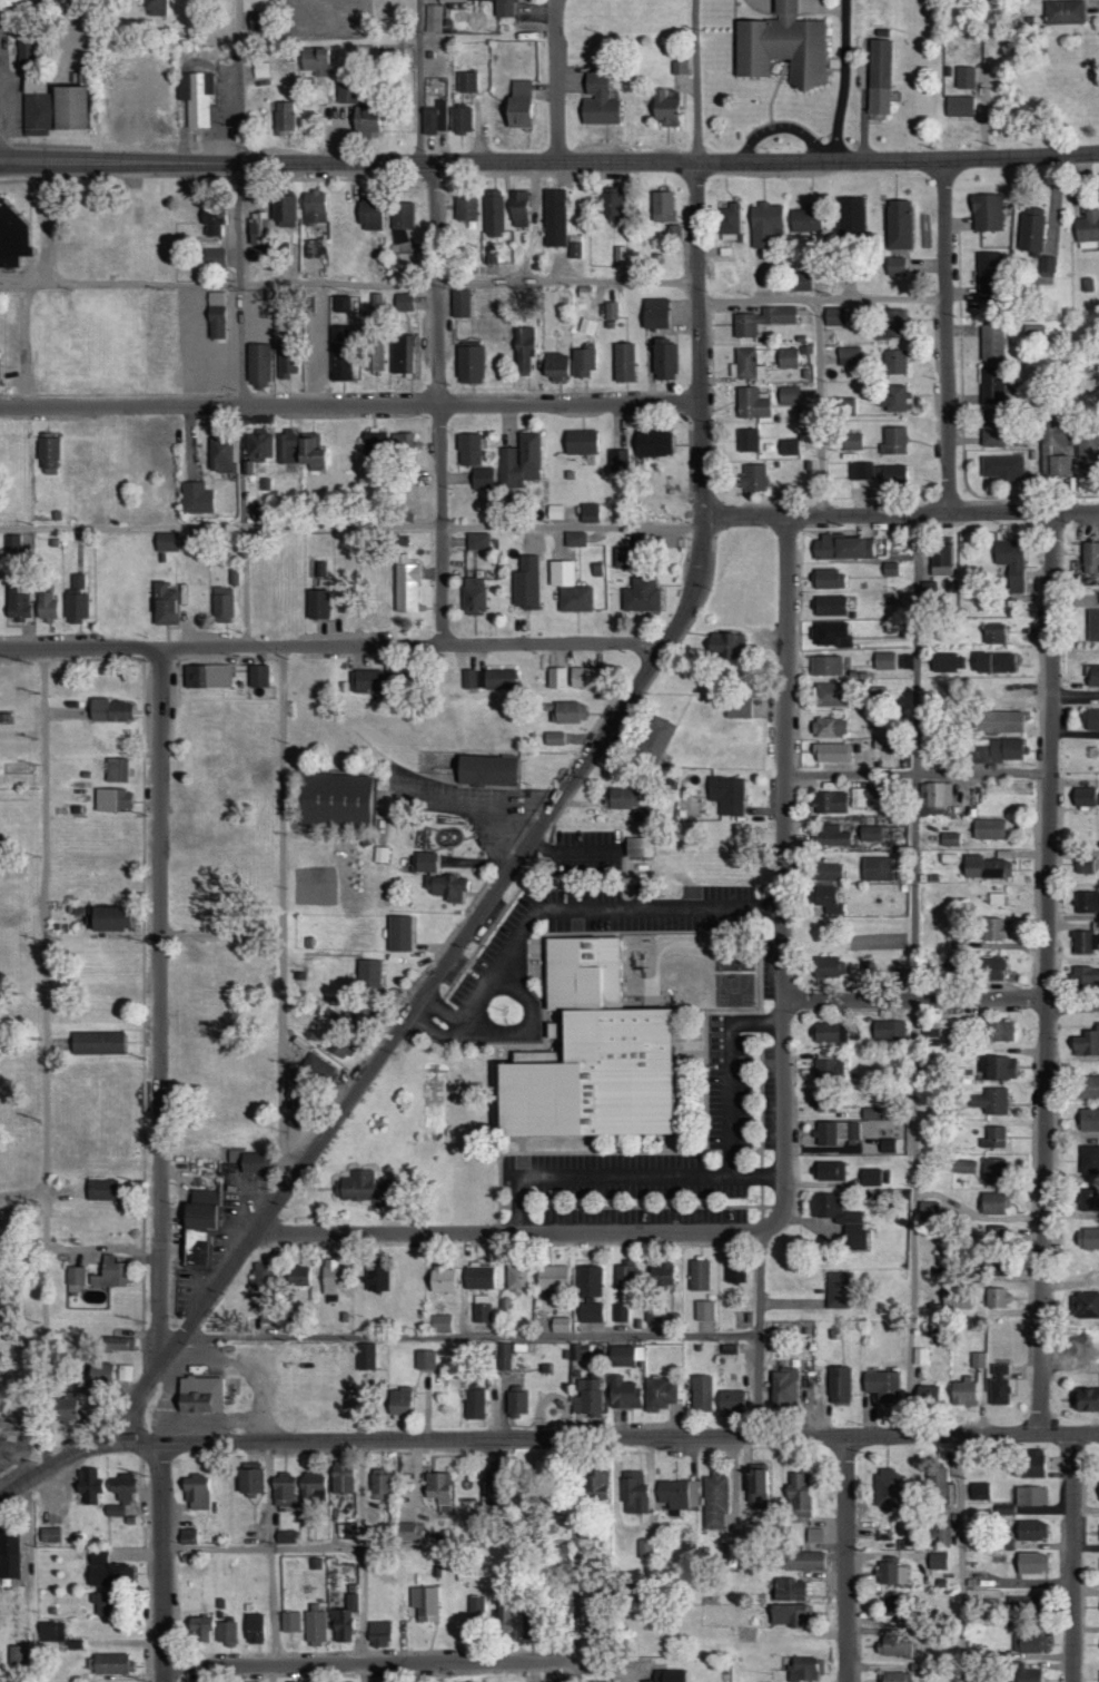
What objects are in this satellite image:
building: (448, 0)
road: (18, 7)
building: (155, 8)
building: (504, 8)
building: (1063, 11)
building: (432, 18)
building: (788, 43)
building: (23, 52)
building: (314, 60)
building: (680, 67)
building: (260, 70)
road: (843, 75)
building: (879, 76)
building: (964, 77)
road: (238, 81)
road: (418, 81)
building: (466, 81)
road: (556, 81)
road: (696, 81)
building: (346, 94)
building: (196, 97)
building: (596, 101)
building: (1070, 102)
building: (518, 105)
building: (960, 106)
building: (50, 107)
building: (664, 108)
building: (283, 116)
road: (783, 117)
building: (435, 118)
building: (459, 119)
building: (365, 121)
road: (549, 163)
building: (611, 205)
building: (662, 206)
building: (313, 207)
building: (464, 208)
building: (283, 209)
building: (987, 212)
building: (493, 213)
building: (369, 215)
building: (850, 215)
building: (554, 217)
building: (516, 218)
building: (400, 220)
building: (729, 222)
building: (805, 222)
building: (211, 223)
building: (766, 224)
building: (897, 224)
building: (258, 227)
building: (1030, 229)
building: (1087, 229)
building: (673, 232)
building: (11, 238)
building: (574, 246)
building: (316, 247)
building: (289, 250)
building: (474, 252)
building: (256, 253)
building: (491, 254)
building: (618, 256)
building: (214, 257)
building: (406, 259)
building: (1047, 265)
building: (894, 266)
building: (988, 276)
road: (349, 283)
building: (1087, 285)
road: (822, 299)
building: (376, 301)
building: (403, 302)
building: (338, 303)
building: (459, 303)
building: (610, 311)
building: (654, 313)
building: (834, 316)
building: (762, 319)
building: (215, 322)
building: (891, 323)
road: (947, 336)
road: (699, 340)
building: (991, 342)
building: (523, 350)
building: (339, 353)
building: (402, 354)
building: (373, 355)
building: (848, 355)
building: (788, 357)
building: (663, 361)
building: (582, 362)
building: (623, 362)
building: (892, 362)
building: (286, 363)
building: (747, 363)
building: (257, 364)
building: (468, 364)
building: (554, 365)
building: (316, 368)
building: (991, 385)
building: (789, 395)
building: (892, 397)
road: (439, 403)
building: (751, 403)
road: (239, 404)
building: (846, 405)
road: (349, 406)
road: (820, 407)
building: (991, 430)
building: (746, 440)
building: (893, 440)
building: (852, 441)
building: (373, 442)
building: (580, 442)
building: (652, 443)
building: (258, 445)
building: (399, 446)
building: (789, 446)
building: (1087, 446)
building: (1051, 449)
building: (467, 450)
building: (46, 452)
building: (221, 455)
building: (618, 460)
building: (519, 461)
building: (1001, 466)
building: (877, 472)
building: (406, 474)
building: (752, 476)
building: (482, 478)
building: (197, 498)
building: (554, 511)
building: (588, 512)
road: (900, 514)
road: (350, 525)
building: (574, 539)
building: (476, 541)
building: (12, 542)
building: (165, 542)
building: (842, 548)
building: (940, 555)
building: (1089, 557)
building: (623, 558)
building: (1012, 563)
building: (320, 569)
building: (890, 569)
building: (829, 579)
building: (525, 583)
building: (405, 584)
building: (567, 588)
building: (928, 591)
building: (473, 596)
building: (640, 596)
building: (76, 601)
building: (164, 604)
building: (221, 604)
building: (317, 604)
building: (17, 606)
building: (46, 606)
building: (830, 606)
building: (1092, 626)
building: (993, 633)
building: (831, 635)
road: (330, 646)
building: (726, 646)
building: (884, 660)
building: (943, 662)
building: (993, 662)
building: (825, 666)
building: (1092, 675)
building: (257, 676)
building: (206, 677)
building: (582, 677)
building: (556, 678)
building: (488, 679)
building: (369, 680)
building: (830, 695)
building: (736, 708)
building: (108, 710)
building: (567, 712)
building: (1090, 719)
building: (998, 721)
building: (830, 728)
building: (554, 738)
building: (654, 739)
building: (997, 751)
building: (833, 753)
building: (116, 770)
building: (484, 771)
road: (918, 774)
building: (726, 795)
building: (938, 795)
building: (1085, 796)
building: (857, 797)
building: (621, 798)
building: (111, 800)
building: (330, 800)
building: (830, 803)
building: (640, 814)
building: (988, 829)
building: (870, 834)
building: (829, 835)
building: (950, 839)
building: (636, 847)
building: (379, 855)
building: (948, 858)
building: (425, 862)
building: (1083, 866)
building: (984, 867)
building: (877, 868)
building: (826, 872)
road: (784, 878)
building: (445, 886)
building: (997, 898)
building: (823, 901)
building: (1087, 902)
road: (620, 907)
road: (283, 915)
parking lot: (588, 915)
building: (107, 919)
building: (994, 928)
building: (398, 934)
road: (222, 936)
building: (1085, 942)
building: (826, 966)
building: (992, 968)
road: (1049, 973)
road: (912, 974)
building: (368, 975)
building: (1086, 977)
road: (428, 986)
park: (733, 988)
road: (940, 999)
road: (481, 1002)
road: (160, 1006)
road: (443, 1006)
road: (469, 1026)
building: (888, 1030)
building: (1000, 1031)
building: (830, 1033)
road: (504, 1039)
building: (96, 1043)
building: (1087, 1043)
building: (598, 1056)
road: (46, 1060)
building: (998, 1068)
building: (317, 1069)
building: (828, 1069)
parking lot: (742, 1082)
building: (1088, 1086)
road: (736, 1092)
building: (991, 1101)
building: (871, 1113)
building: (1088, 1120)
building: (835, 1132)
building: (994, 1138)
building: (887, 1147)
building: (1088, 1160)
building: (245, 1161)
building: (962, 1165)
building: (829, 1171)
building: (993, 1171)
road: (602, 1174)
building: (874, 1178)
building: (100, 1189)
building: (362, 1189)
road: (22, 1192)
building: (1088, 1202)
building: (991, 1204)
building: (928, 1211)
building: (851, 1223)
building: (197, 1227)
road: (511, 1232)
building: (1088, 1238)
building: (1002, 1250)
building: (109, 1273)
building: (700, 1275)
building: (736, 1276)
building: (296, 1277)
building: (330, 1277)
building: (478, 1277)
building: (551, 1278)
building: (624, 1278)
building: (661, 1278)
building: (375, 1279)
building: (516, 1279)
building: (75, 1280)
building: (261, 1280)
building: (442, 1280)
building: (587, 1282)
building: (838, 1290)
building: (954, 1298)
building: (996, 1298)
building: (1086, 1306)
building: (481, 1309)
building: (704, 1311)
building: (591, 1312)
building: (620, 1314)
building: (440, 1324)
building: (560, 1325)
road: (471, 1334)
road: (758, 1334)
building: (115, 1345)
building: (578, 1351)
building: (365, 1356)
building: (624, 1356)
building: (503, 1357)
building: (919, 1357)
building: (425, 1360)
building: (978, 1360)
building: (123, 1374)
building: (99, 1376)
building: (839, 1386)
building: (882, 1386)
building: (999, 1386)
building: (784, 1388)
building: (622, 1393)
building: (963, 1393)
building: (701, 1394)
building: (659, 1395)
building: (198, 1396)
building: (925, 1396)
building: (587, 1398)
building: (1085, 1400)
building: (731, 1401)
building: (398, 1403)
building: (516, 1404)
building: (474, 1405)
building: (65, 1408)
road: (610, 1438)
building: (1031, 1463)
road: (57, 1464)
building: (340, 1479)
building: (937, 1481)
building: (247, 1483)
building: (489, 1484)
building: (756, 1484)
building: (595, 1485)
building: (89, 1486)
building: (378, 1487)
building: (887, 1487)
building: (310, 1489)
building: (1098, 1489)
building: (437, 1491)
building: (979, 1491)
building: (283, 1492)
building: (195, 1493)
building: (120, 1494)
building: (634, 1494)
building: (677, 1495)
building: (1030, 1495)
building: (799, 1496)
building: (714, 1502)
building: (1030, 1529)
building: (346, 1532)
building: (403, 1532)
building: (50, 1535)
building: (943, 1535)
building: (284, 1537)
road: (368, 1545)
road: (269, 1553)
building: (723, 1554)
building: (9, 1555)
road: (1073, 1557)
road: (846, 1558)
road: (960, 1558)
road: (363, 1561)
road: (575, 1561)
building: (802, 1561)
building: (937, 1561)
road: (162, 1562)
building: (1030, 1562)
building: (106, 1571)
building: (890, 1571)
building: (789, 1588)
building: (424, 1602)
building: (1018, 1602)
building: (99, 1603)
building: (476, 1603)
building: (893, 1604)
building: (789, 1614)
building: (503, 1620)
building: (290, 1621)
building: (343, 1621)
building: (315, 1624)
building: (251, 1627)
building: (200, 1629)
building: (226, 1632)
building: (379, 1632)
building: (52, 1635)
building: (893, 1642)
building: (1030, 1643)
building: (17, 1654)
building: (111, 1662)
road: (370, 1663)
building: (802, 1668)
building: (1023, 1673)
building: (669, 1675)
building: (894, 1676)
building: (260, 1681)
building: (593, 1681)

